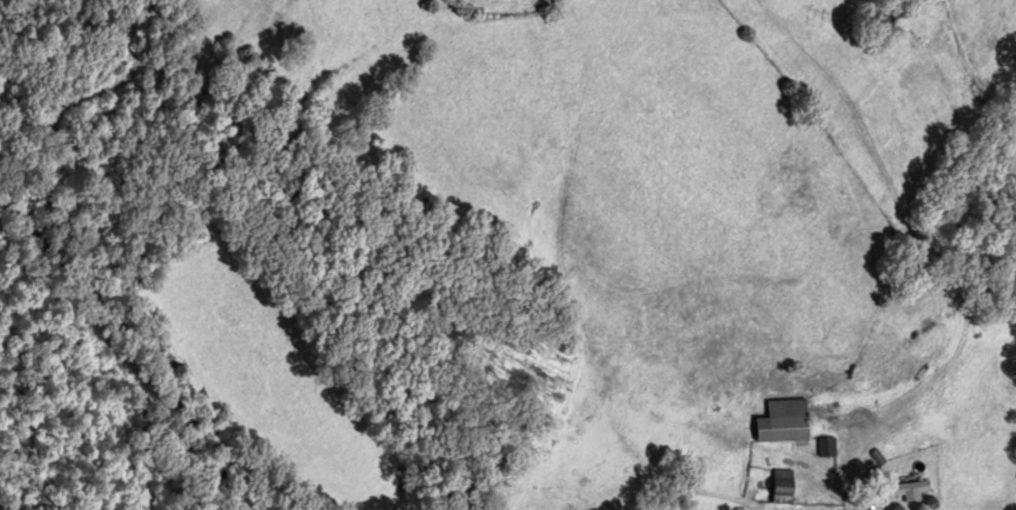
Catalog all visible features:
building: (787, 418)
building: (826, 445)
building: (781, 484)
building: (904, 488)

